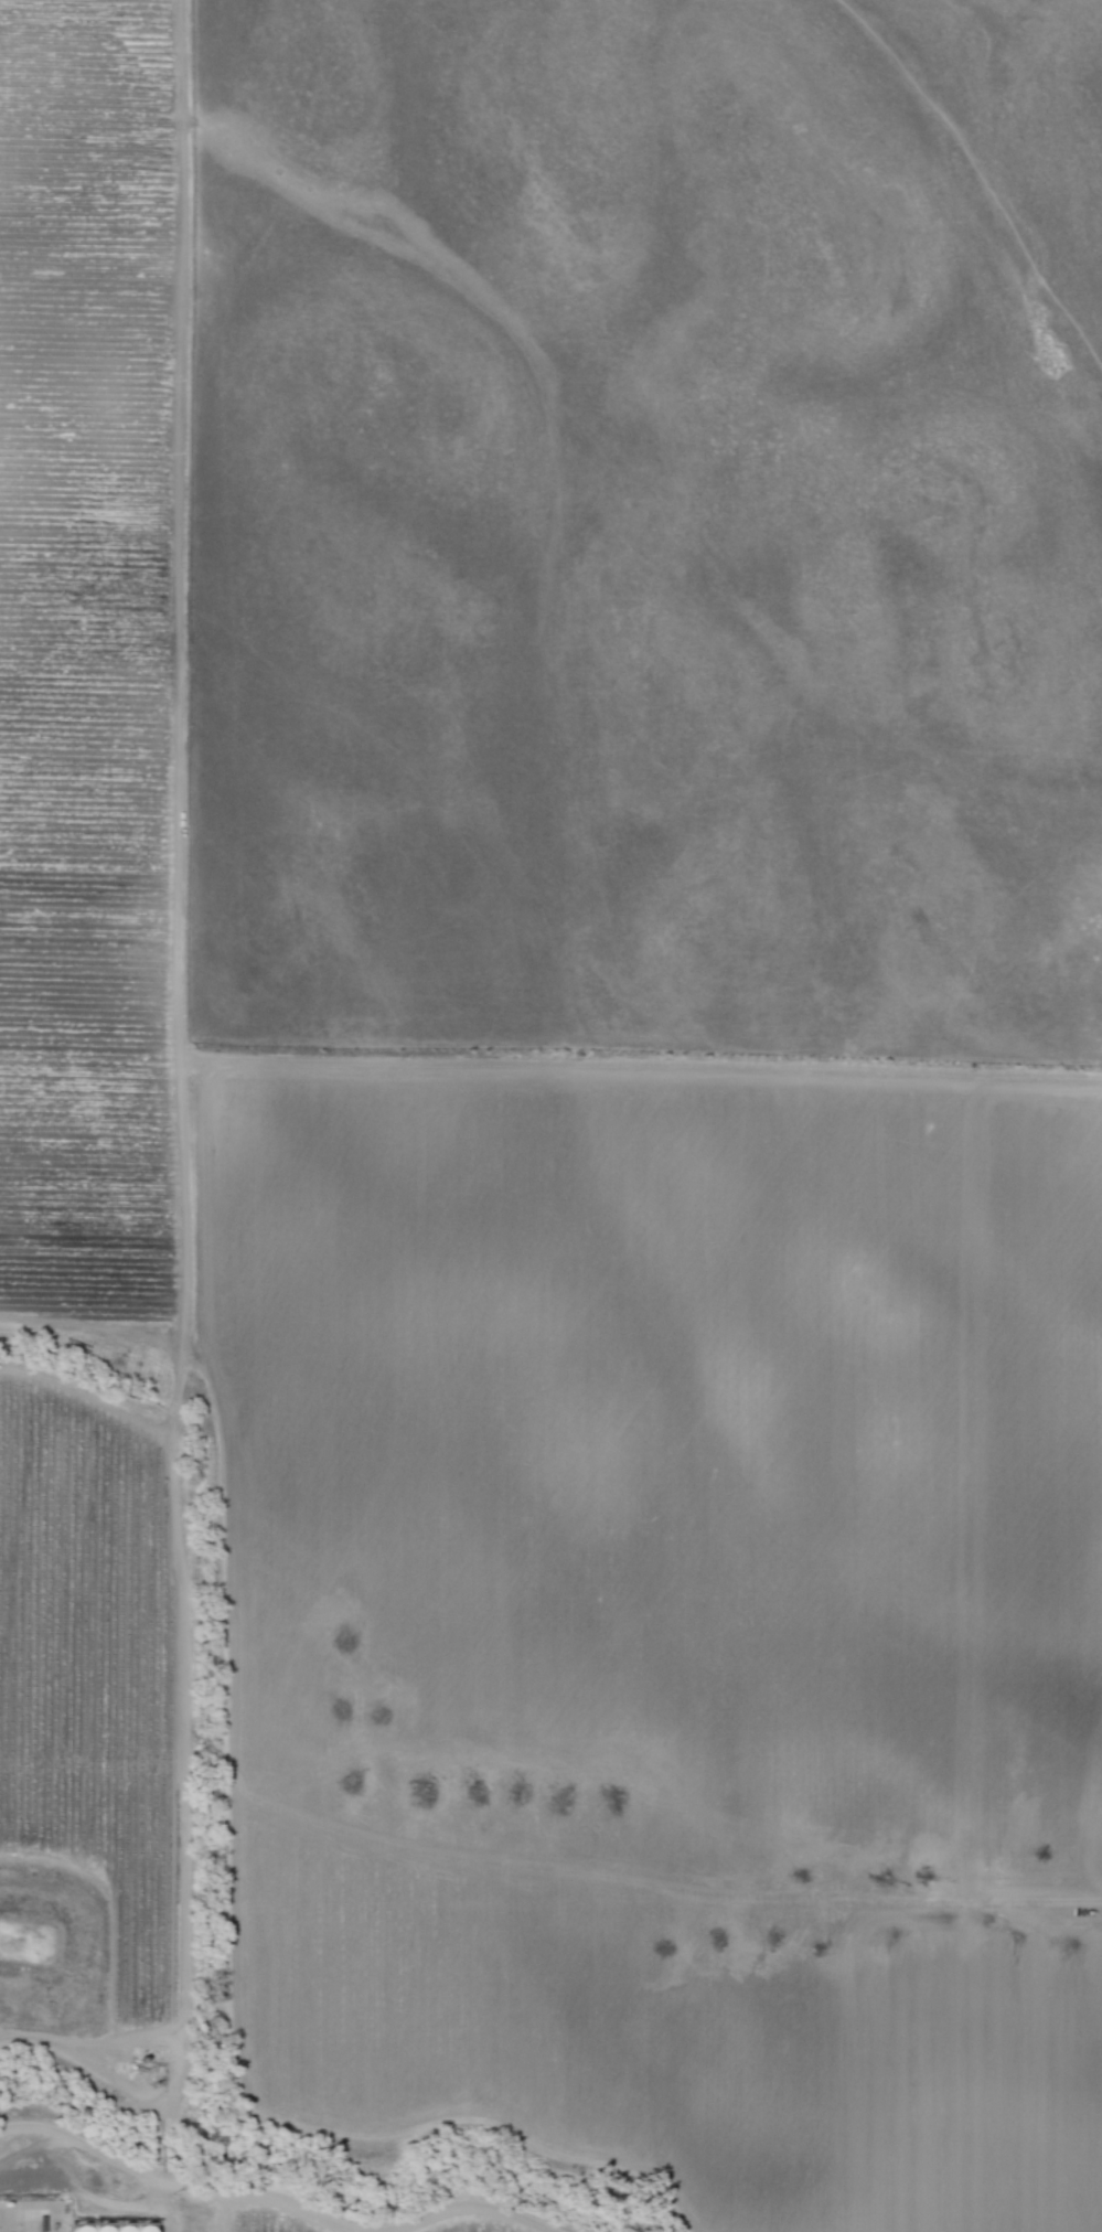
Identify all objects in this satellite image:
road: (179, 1625)
road: (3, 2031)
road: (69, 2035)
road: (154, 2065)
road: (12, 2178)
road: (274, 2199)

